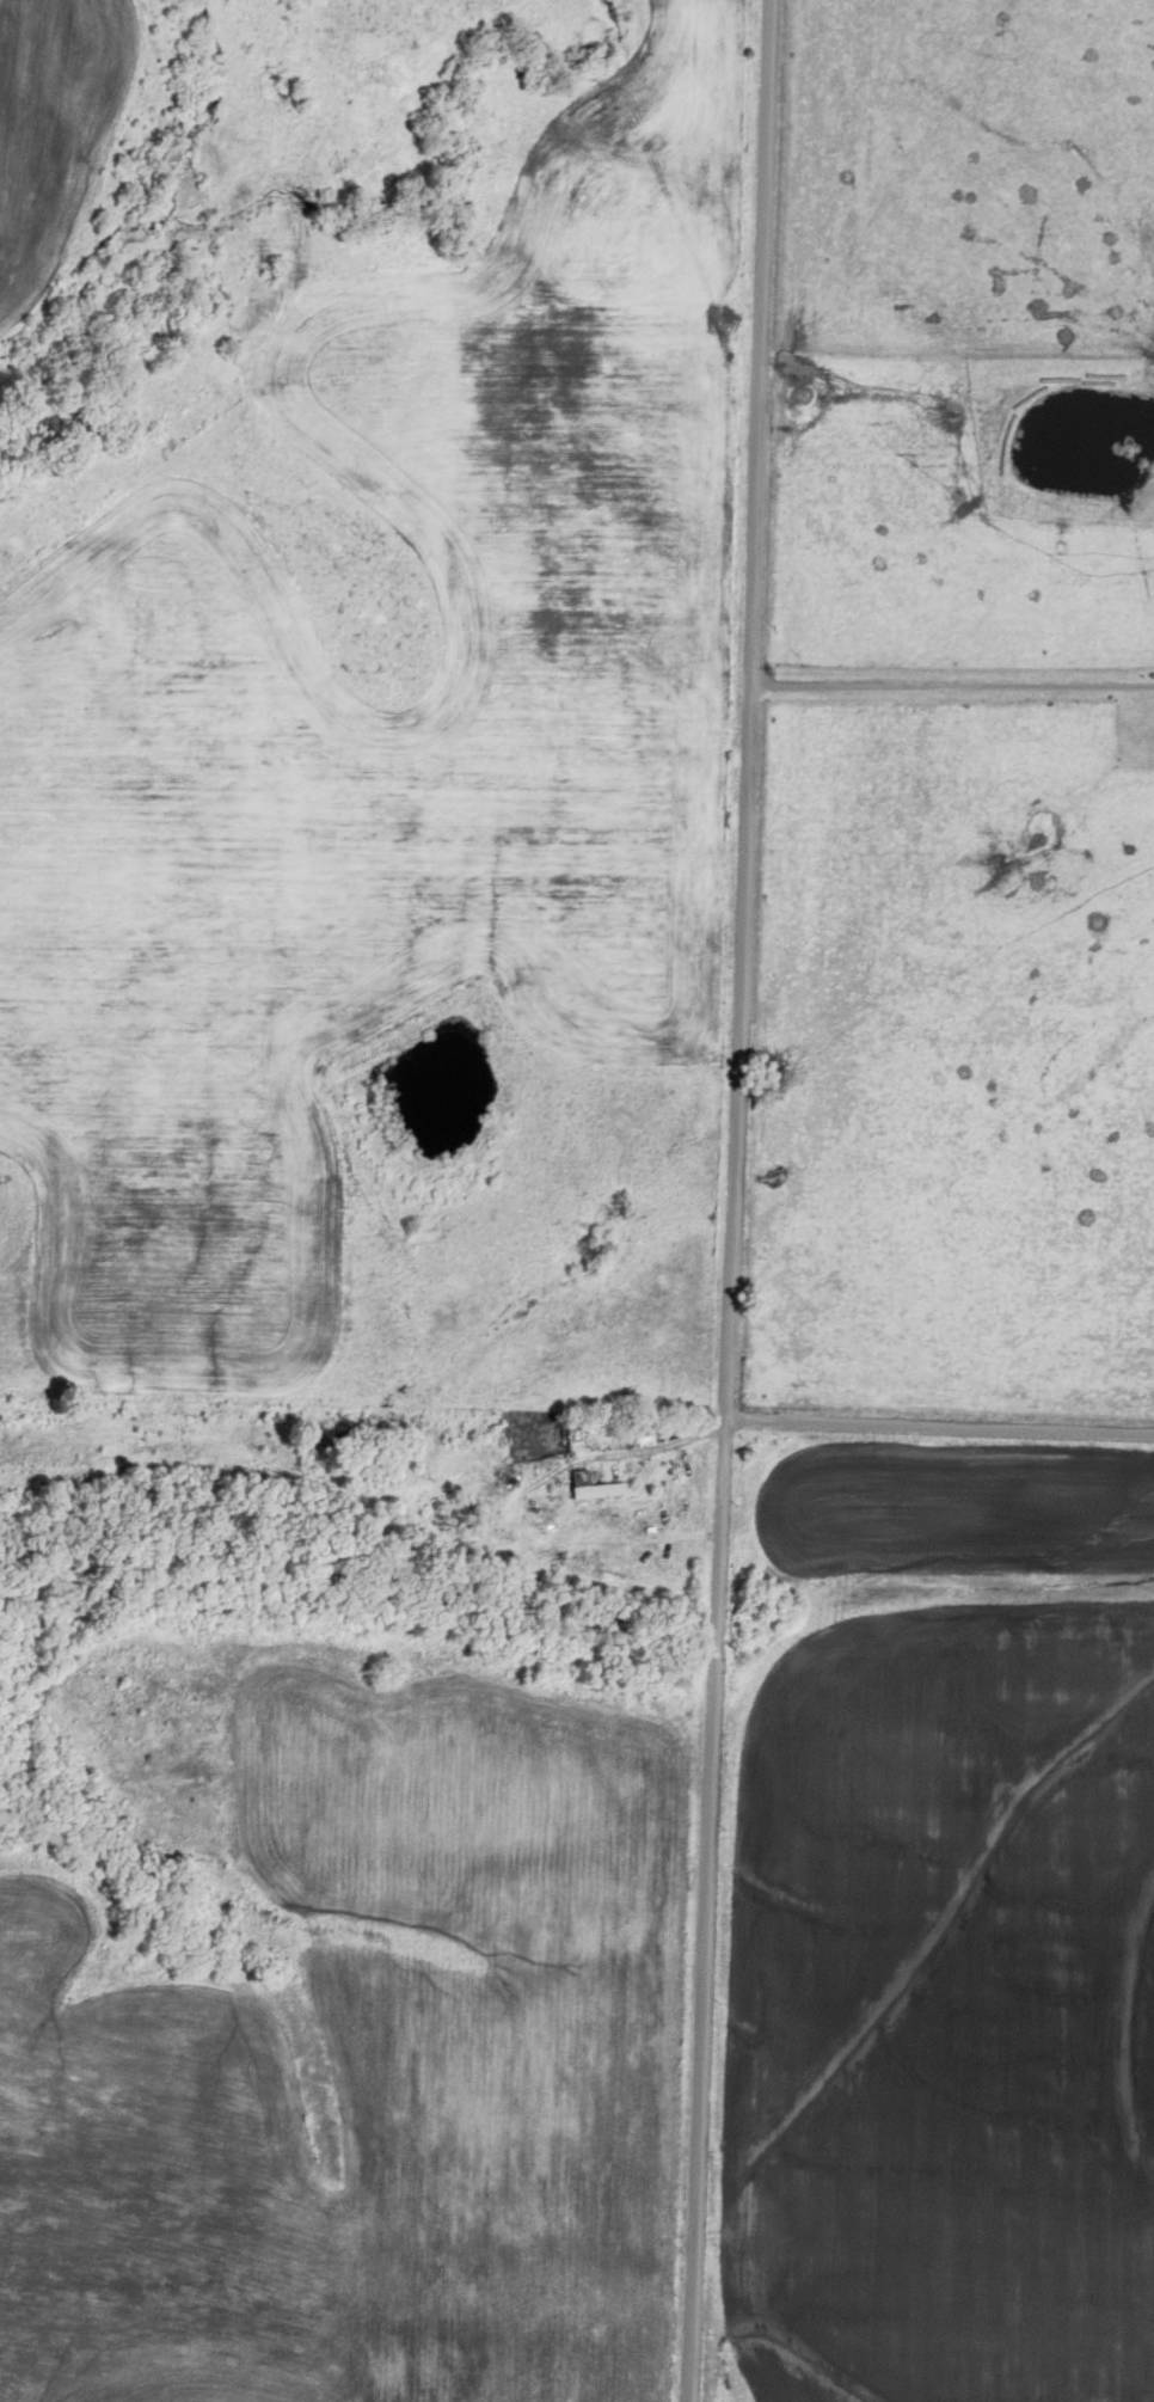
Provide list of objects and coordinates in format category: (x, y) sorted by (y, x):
road: (951, 686)
road: (735, 1201)
road: (941, 1433)
road: (664, 1441)

